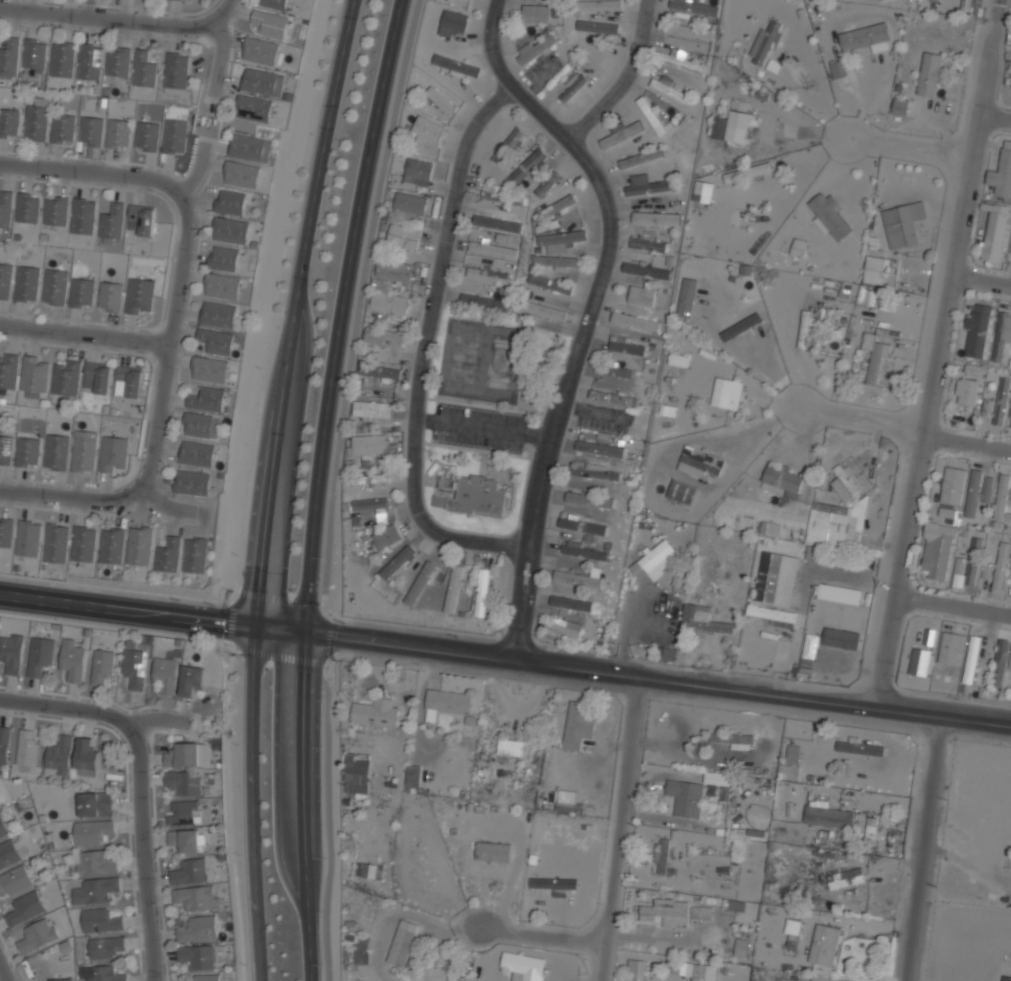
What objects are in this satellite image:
building: (183, 0)
building: (935, 0)
building: (273, 4)
building: (597, 5)
building: (971, 5)
building: (694, 7)
building: (536, 13)
road: (209, 14)
building: (448, 19)
road: (120, 22)
building: (270, 24)
building: (596, 26)
building: (689, 30)
building: (866, 37)
building: (764, 42)
building: (536, 48)
building: (260, 52)
building: (34, 54)
building: (9, 57)
building: (679, 57)
building: (62, 60)
building: (89, 62)
building: (118, 62)
building: (456, 65)
building: (838, 69)
building: (144, 70)
building: (176, 70)
building: (931, 74)
road: (626, 78)
building: (263, 83)
building: (573, 88)
building: (669, 90)
building: (440, 99)
building: (900, 106)
building: (254, 109)
building: (651, 115)
road: (995, 116)
building: (36, 118)
building: (8, 123)
building: (731, 126)
building: (62, 128)
building: (428, 128)
building: (765, 128)
building: (90, 131)
building: (174, 133)
building: (623, 133)
building: (118, 134)
building: (146, 136)
road: (901, 142)
building: (508, 145)
building: (249, 148)
building: (641, 158)
building: (525, 168)
building: (418, 171)
building: (747, 172)
building: (1002, 174)
building: (241, 175)
road: (109, 176)
building: (546, 184)
building: (647, 185)
building: (502, 196)
building: (230, 203)
building: (410, 203)
building: (554, 207)
building: (27, 208)
building: (5, 209)
building: (55, 211)
building: (829, 216)
building: (83, 217)
building: (656, 218)
building: (143, 219)
building: (112, 222)
building: (496, 223)
building: (903, 224)
building: (546, 226)
building: (230, 231)
building: (995, 232)
building: (403, 236)
building: (562, 238)
building: (648, 244)
building: (798, 247)
building: (493, 249)
building: (223, 258)
building: (556, 261)
building: (880, 269)
building: (394, 270)
building: (647, 270)
building: (487, 274)
building: (5, 280)
road: (981, 280)
building: (26, 283)
building: (550, 283)
building: (221, 286)
building: (55, 287)
building: (81, 293)
building: (642, 293)
building: (110, 296)
building: (139, 296)
building: (863, 296)
building: (389, 302)
building: (484, 302)
building: (542, 310)
road: (292, 311)
road: (591, 311)
building: (218, 314)
building: (730, 318)
building: (635, 321)
building: (741, 326)
building: (804, 329)
road: (166, 332)
building: (976, 332)
road: (82, 334)
building: (1002, 334)
building: (383, 337)
building: (216, 341)
building: (627, 345)
road: (424, 350)
road: (938, 354)
building: (873, 355)
building: (678, 359)
building: (209, 369)
building: (9, 371)
building: (618, 371)
building: (378, 372)
building: (99, 375)
building: (34, 378)
building: (66, 378)
building: (130, 380)
building: (967, 391)
building: (726, 393)
building: (614, 398)
building: (207, 399)
building: (1002, 401)
building: (668, 410)
building: (371, 411)
road: (854, 414)
building: (1010, 420)
building: (201, 425)
road: (968, 438)
building: (370, 445)
building: (589, 447)
building: (5, 449)
building: (27, 452)
building: (56, 453)
building: (113, 453)
building: (83, 454)
building: (196, 454)
building: (700, 462)
building: (596, 472)
building: (378, 479)
building: (782, 480)
building: (192, 483)
building: (843, 484)
building: (954, 486)
road: (314, 487)
road: (333, 489)
building: (977, 491)
building: (681, 493)
building: (473, 496)
road: (96, 497)
building: (1003, 499)
building: (589, 500)
building: (371, 504)
building: (950, 515)
building: (837, 523)
building: (583, 525)
building: (6, 532)
building: (387, 536)
building: (28, 539)
building: (56, 544)
building: (84, 545)
building: (112, 546)
building: (140, 547)
building: (584, 550)
building: (937, 550)
building: (169, 556)
building: (195, 556)
building: (655, 560)
building: (973, 561)
building: (397, 562)
building: (960, 565)
building: (1001, 566)
building: (987, 570)
building: (1010, 575)
building: (578, 577)
building: (769, 577)
building: (1010, 579)
building: (419, 583)
building: (453, 589)
building: (482, 593)
building: (571, 603)
road: (954, 606)
road: (127, 610)
building: (773, 615)
building: (703, 619)
traffic signals: (255, 627)
building: (560, 629)
traffic signals: (304, 633)
building: (837, 634)
building: (952, 648)
building: (12, 653)
building: (40, 655)
building: (972, 658)
building: (72, 660)
building: (922, 662)
building: (1000, 662)
building: (1010, 663)
building: (101, 668)
building: (135, 668)
building: (165, 674)
road: (632, 676)
building: (192, 680)
building: (446, 703)
road: (93, 712)
building: (375, 713)
building: (578, 726)
building: (733, 739)
building: (4, 746)
building: (511, 747)
building: (26, 748)
building: (860, 748)
building: (183, 755)
building: (58, 757)
building: (86, 759)
road: (250, 762)
building: (788, 772)
building: (356, 776)
building: (412, 777)
building: (184, 782)
building: (686, 796)
building: (565, 800)
building: (94, 806)
building: (183, 813)
building: (828, 817)
building: (3, 828)
road: (619, 829)
building: (91, 833)
building: (184, 840)
road: (924, 850)
building: (493, 851)
road: (141, 852)
building: (8, 854)
building: (662, 857)
building: (92, 864)
building: (418, 864)
building: (190, 872)
building: (845, 878)
building: (14, 880)
building: (553, 883)
building: (98, 892)
building: (195, 897)
building: (738, 906)
building: (24, 908)
building: (675, 912)
building: (99, 922)
building: (198, 929)
road: (541, 933)
building: (792, 935)
building: (37, 936)
road: (257, 940)
building: (402, 943)
building: (824, 944)
building: (106, 948)
building: (730, 951)
building: (197, 956)
building: (524, 966)
road: (5, 968)
building: (636, 970)
building: (689, 970)
building: (103, 974)
building: (206, 977)
building: (1006, 978)
building: (62, 980)

